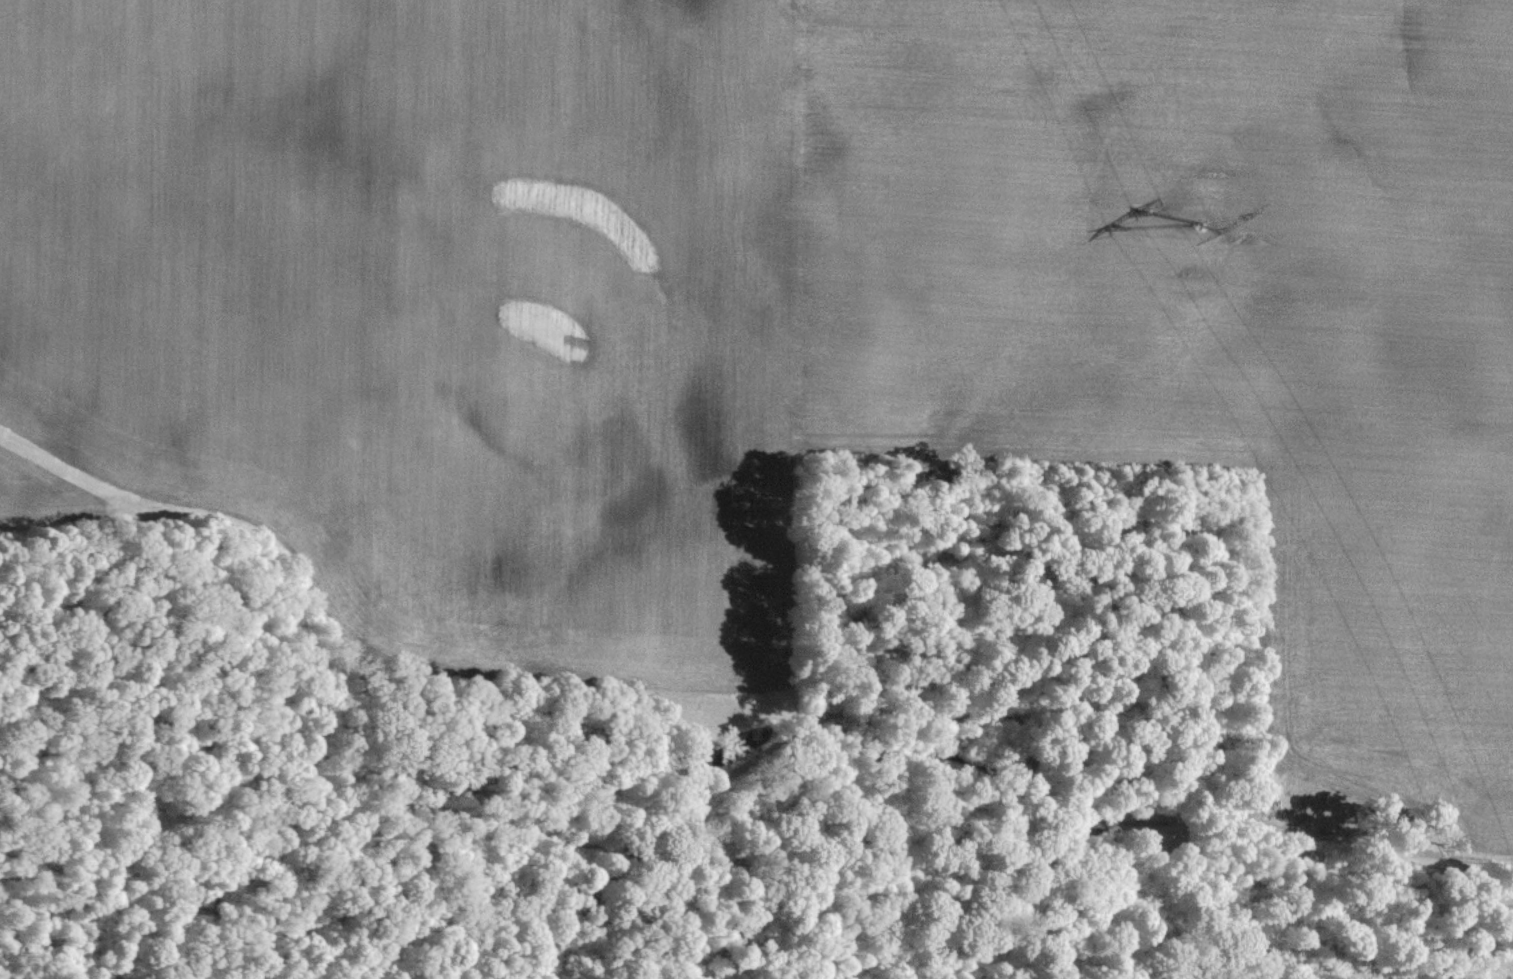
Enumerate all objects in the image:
power tower: (1197, 224)
road: (1491, 973)

